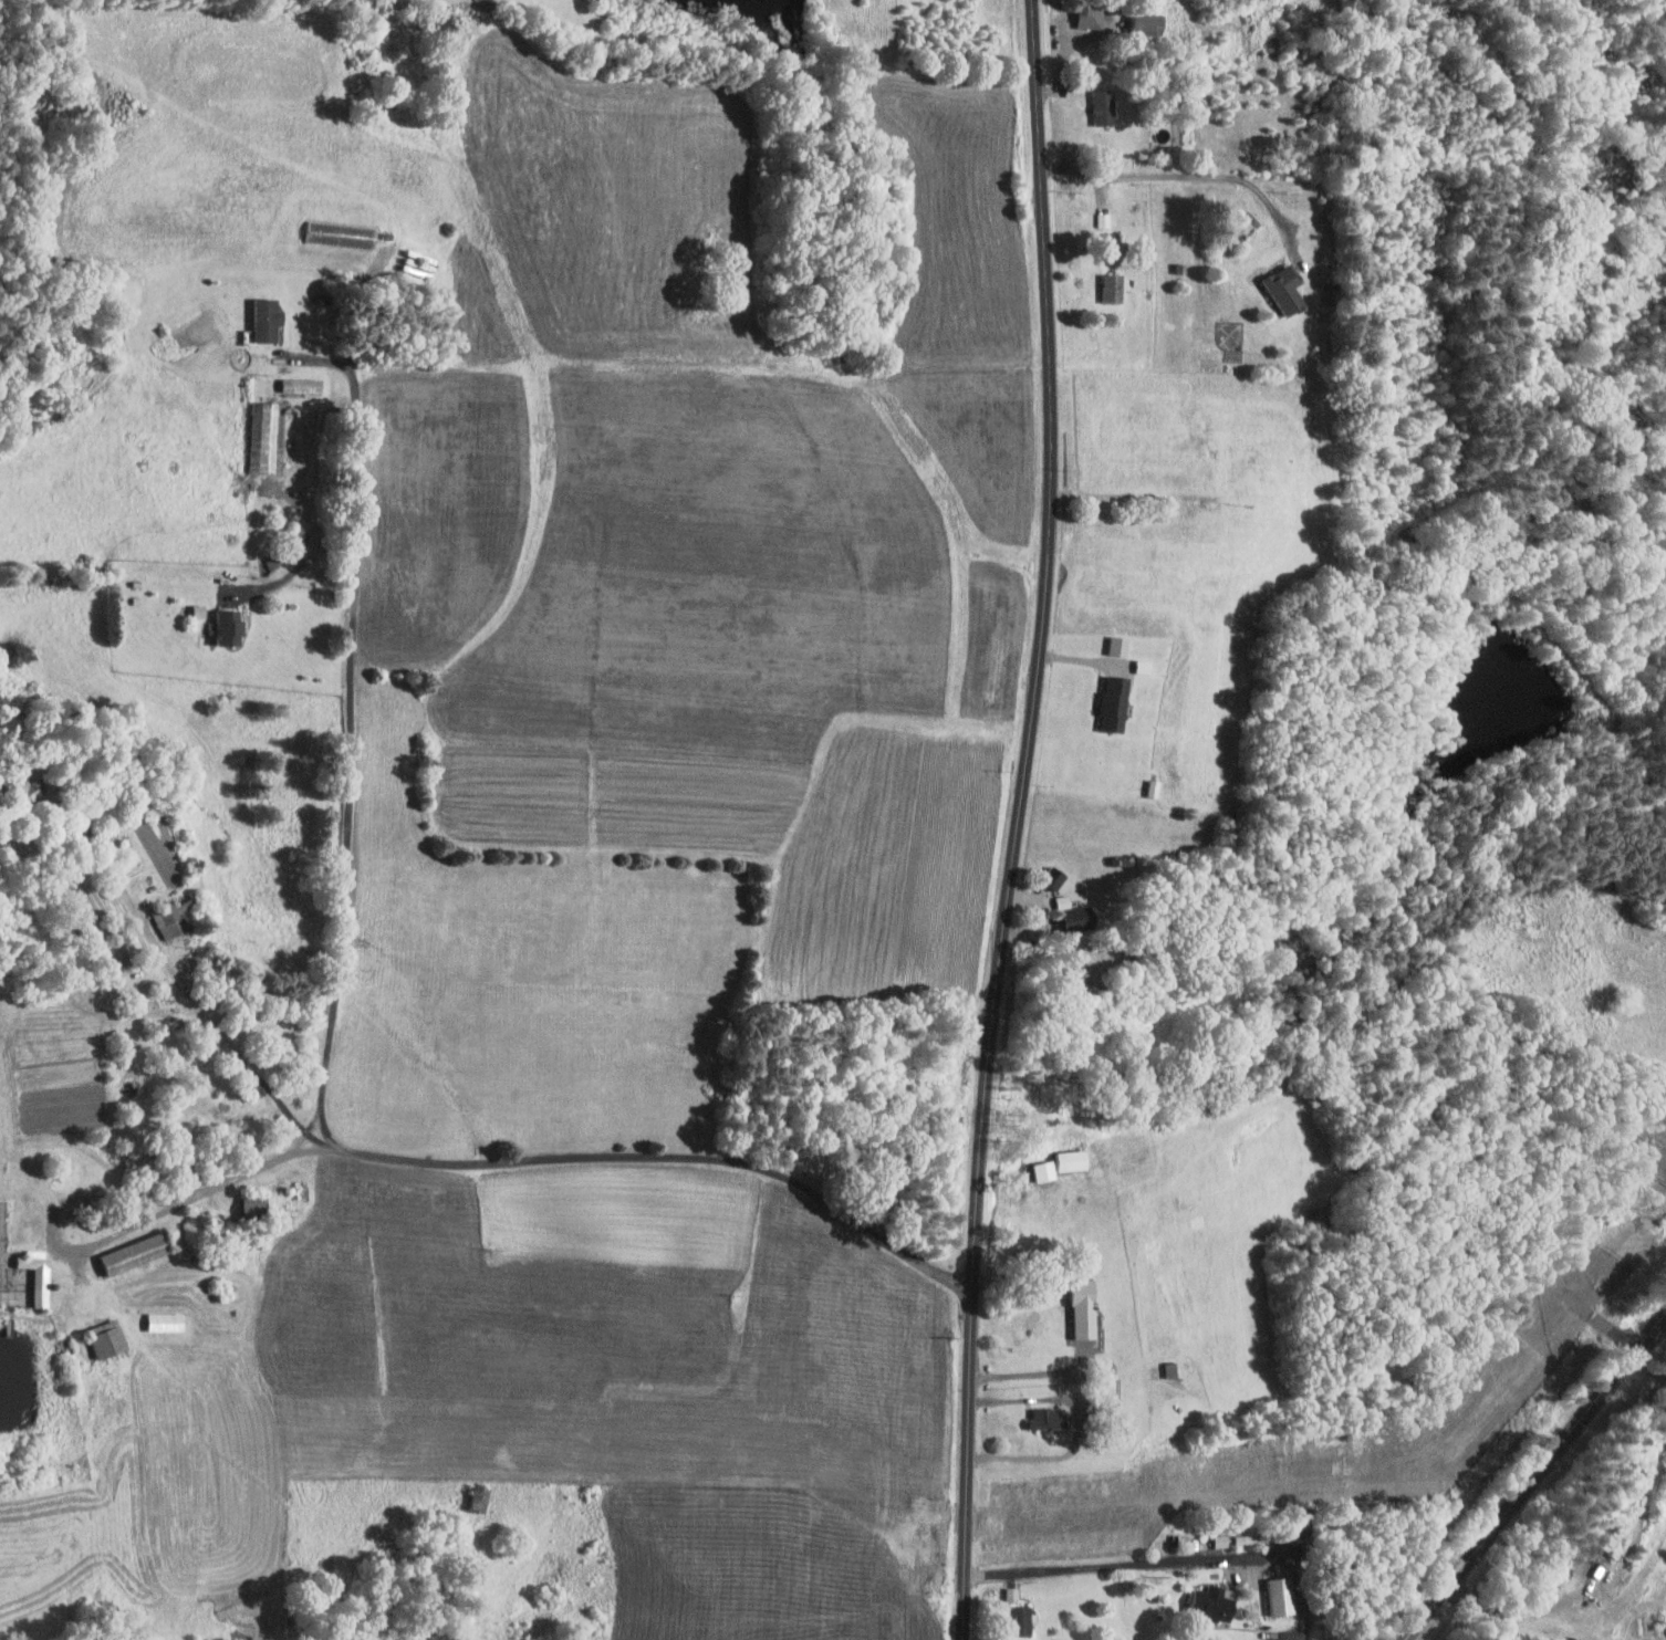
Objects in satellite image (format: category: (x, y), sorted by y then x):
building: (1092, 15)
building: (1147, 24)
building: (1105, 107)
road: (1331, 182)
road: (1272, 210)
building: (343, 233)
building: (1114, 289)
building: (1288, 291)
road: (361, 304)
building: (268, 317)
building: (303, 384)
building: (269, 436)
building: (287, 552)
road: (295, 567)
building: (230, 626)
building: (1117, 702)
building: (28, 791)
road: (1019, 819)
building: (1056, 877)
building: (1074, 913)
building: (173, 918)
road: (189, 991)
road: (327, 1059)
building: (1074, 1160)
building: (1047, 1170)
road: (110, 1195)
building: (256, 1210)
building: (136, 1253)
building: (39, 1274)
building: (1086, 1308)
building: (167, 1322)
building: (108, 1338)
road: (1034, 1372)
building: (1048, 1417)
road: (1081, 1424)
road: (1535, 1476)
building: (481, 1497)
road: (1172, 1561)
building: (1013, 1594)
building: (1283, 1596)
building: (1216, 1602)
building: (1022, 1620)

